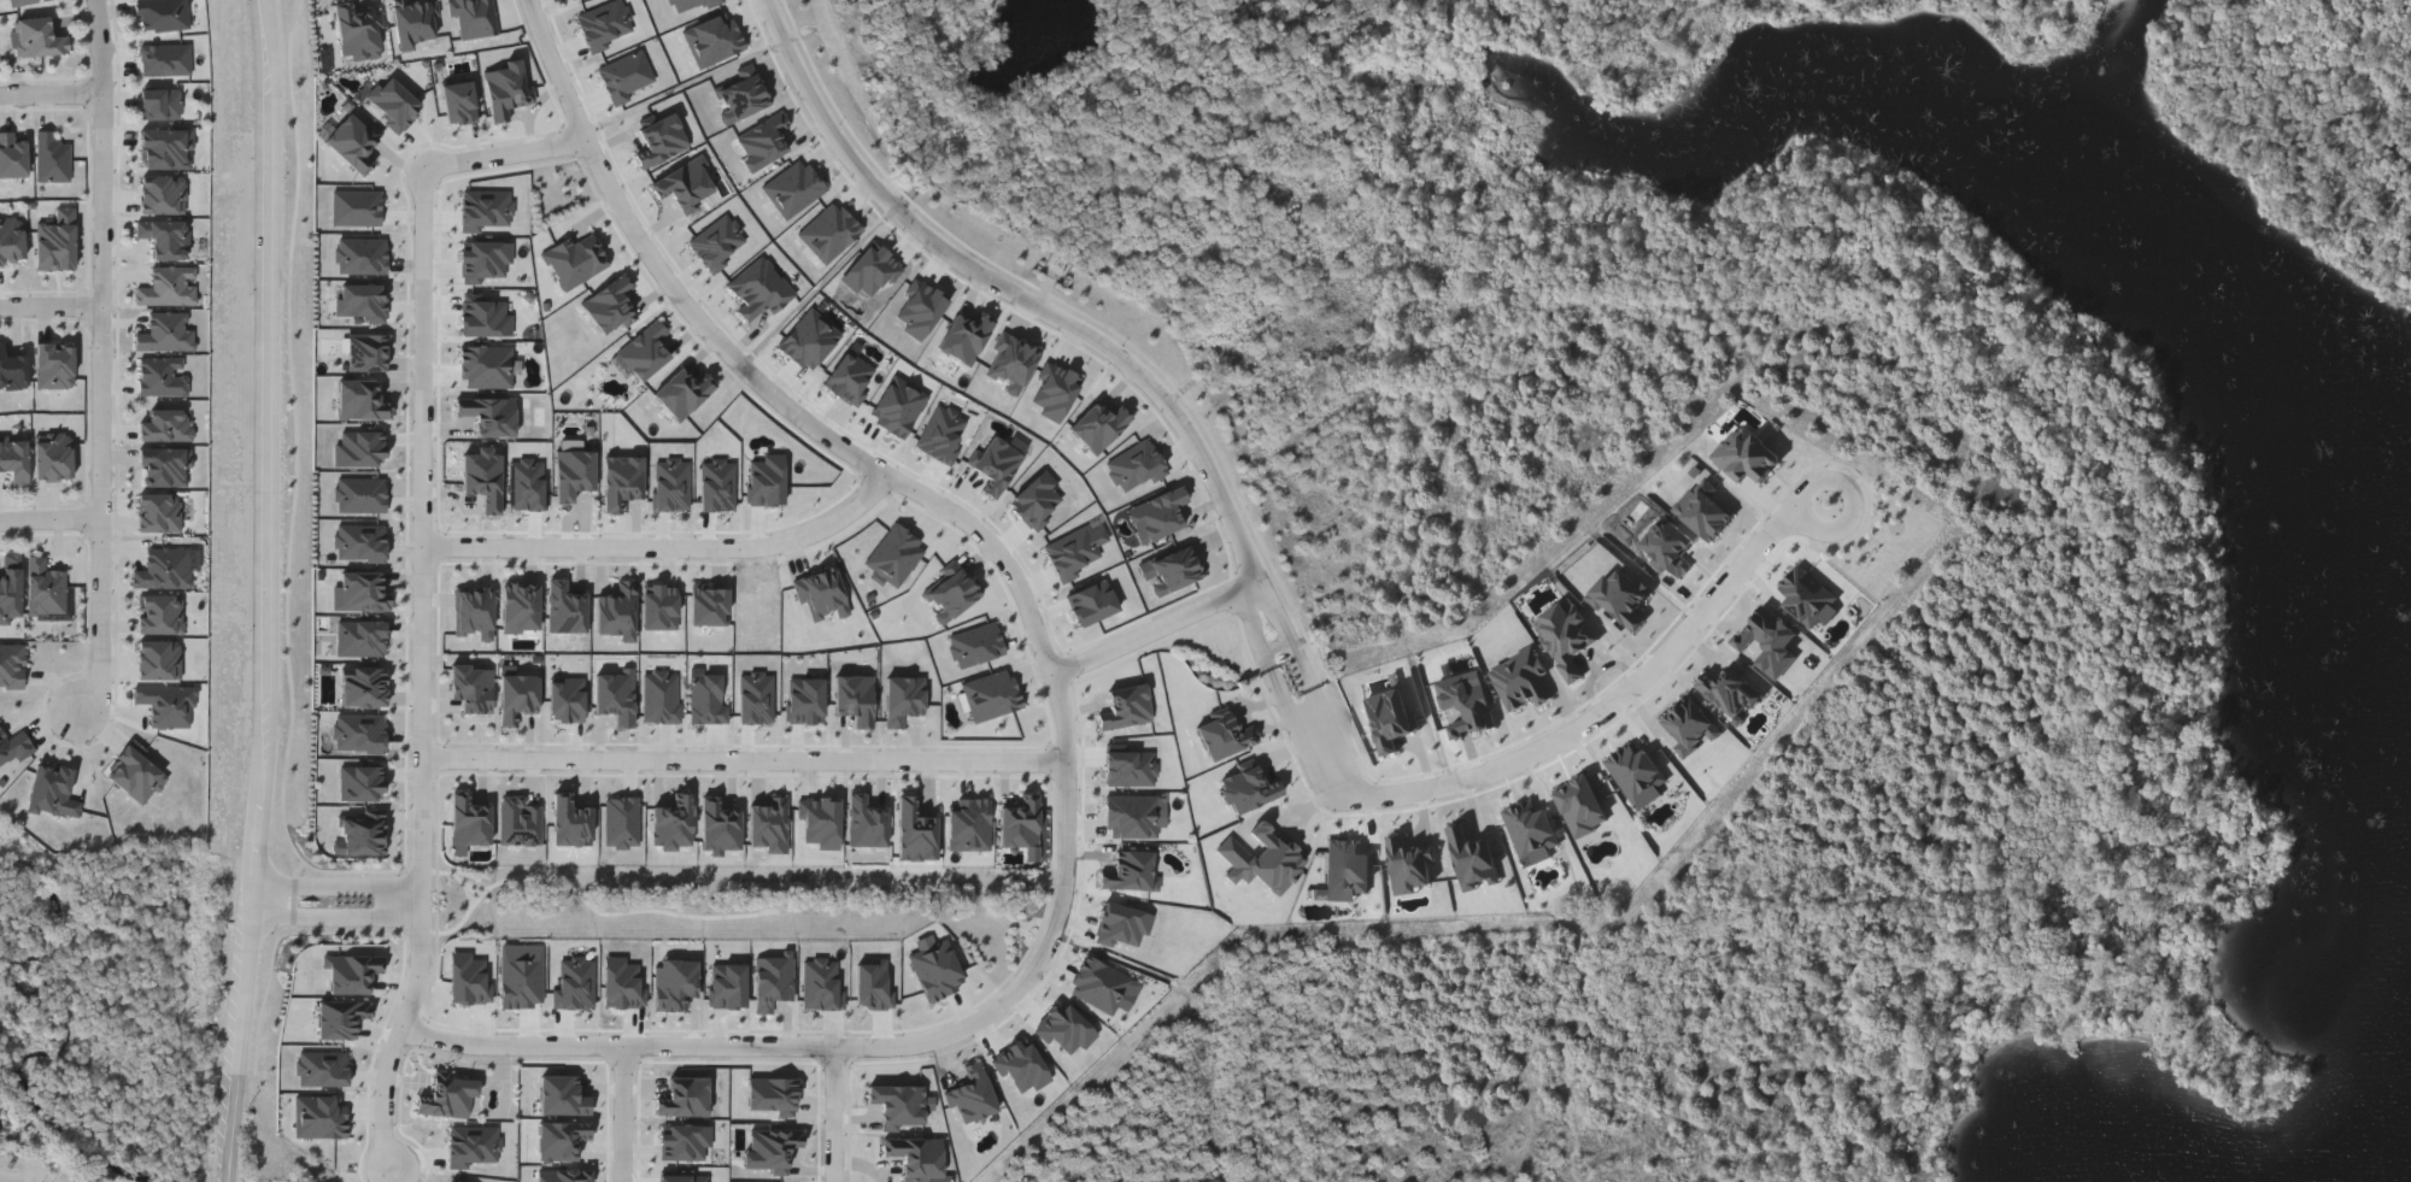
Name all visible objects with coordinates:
building: (22, 1)
building: (160, 14)
building: (37, 37)
road: (53, 90)
building: (159, 102)
building: (51, 157)
road: (52, 302)
road: (1098, 304)
road: (1061, 314)
road: (104, 355)
road: (304, 478)
road: (1835, 482)
road: (49, 513)
road: (665, 547)
road: (263, 592)
road: (422, 594)
road: (1157, 631)
road: (1064, 712)
road: (1555, 741)
road: (745, 763)
road: (339, 890)
road: (336, 916)
road: (623, 1115)
road: (834, 1115)
road: (862, 1164)

